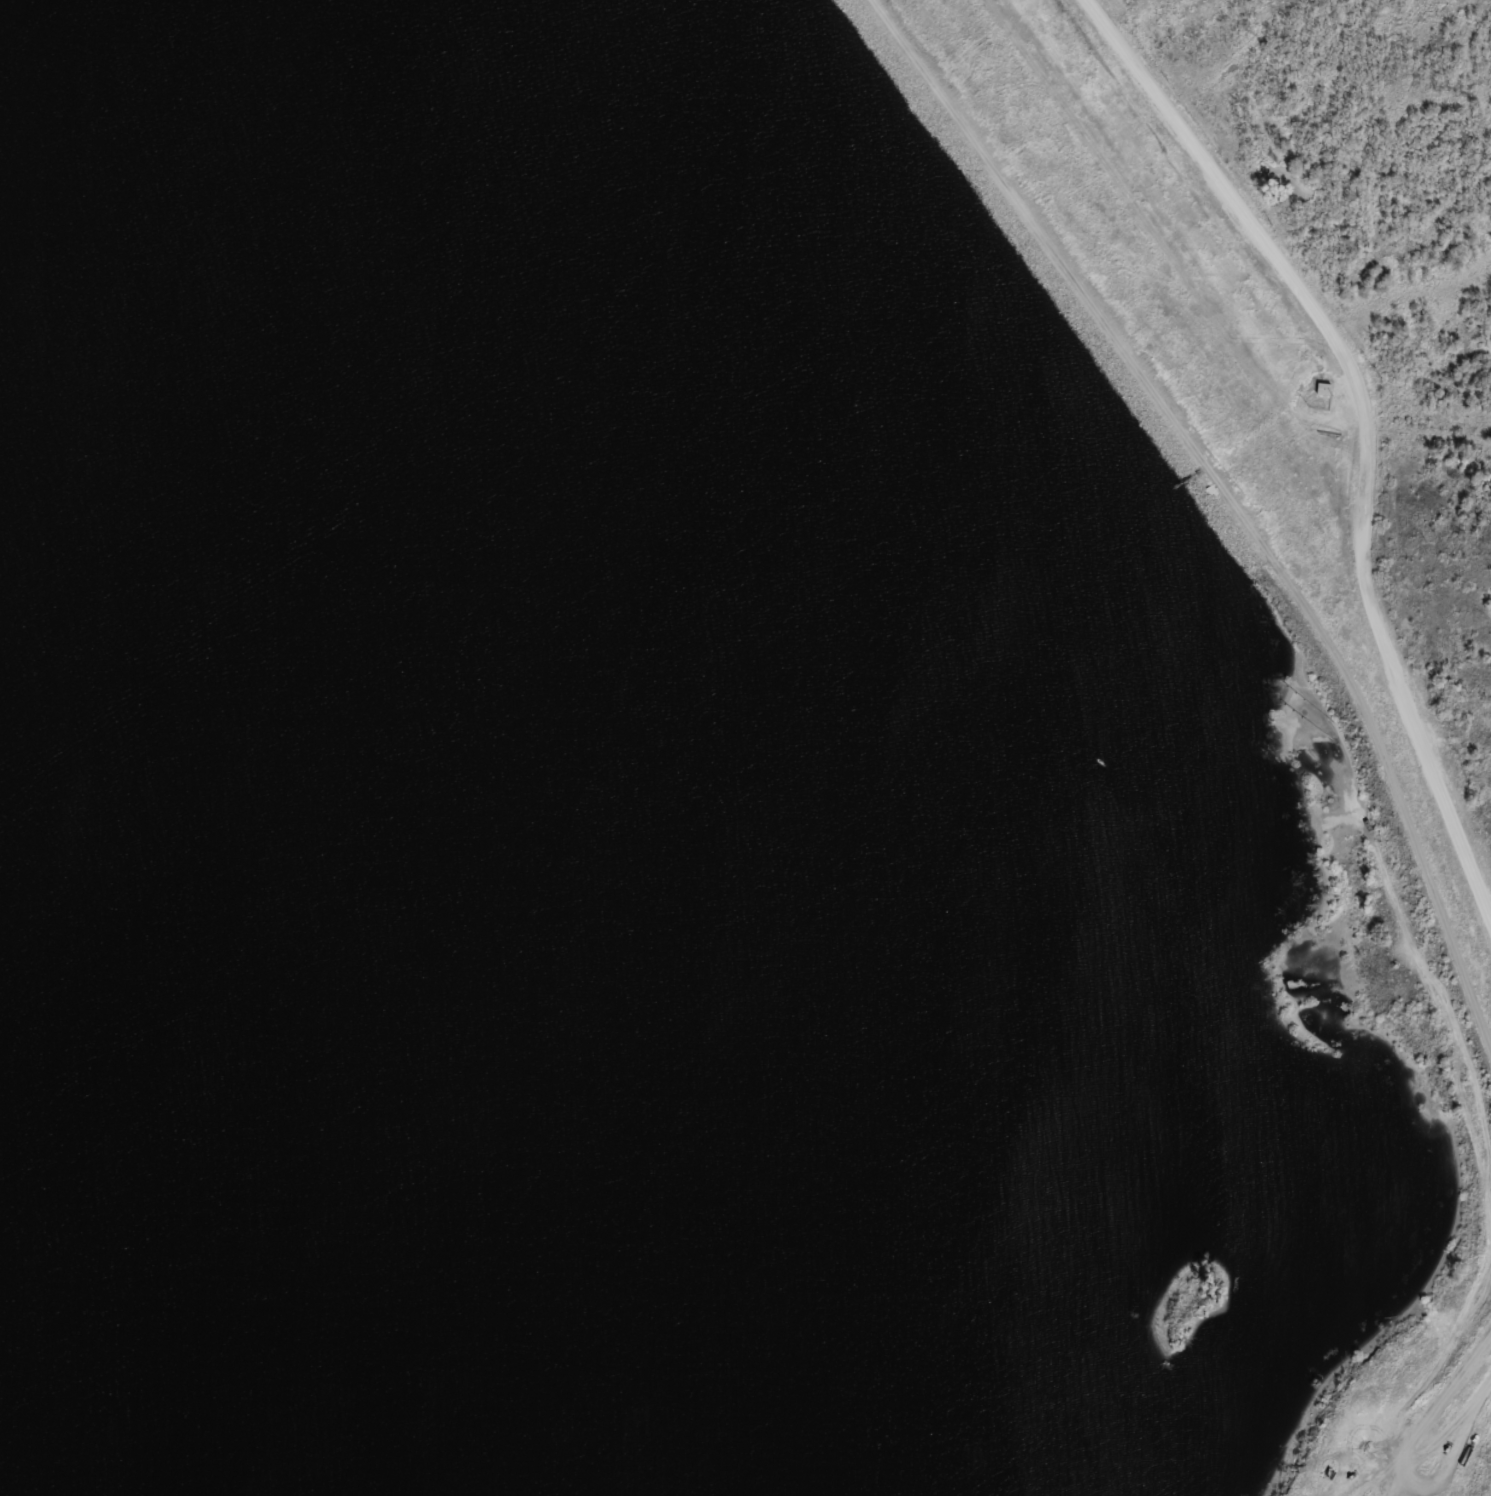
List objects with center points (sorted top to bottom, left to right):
building: (1320, 388)
road: (1362, 426)

